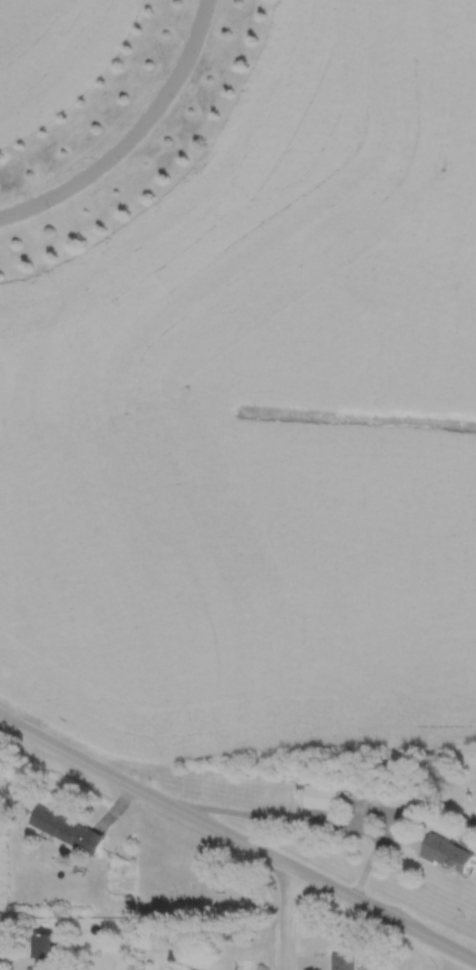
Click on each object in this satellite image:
crop: (54, 55)
road: (131, 135)
crop: (263, 421)
building: (320, 798)
building: (65, 830)
road: (237, 844)
building: (447, 855)
road: (287, 920)
building: (43, 952)
building: (342, 961)

